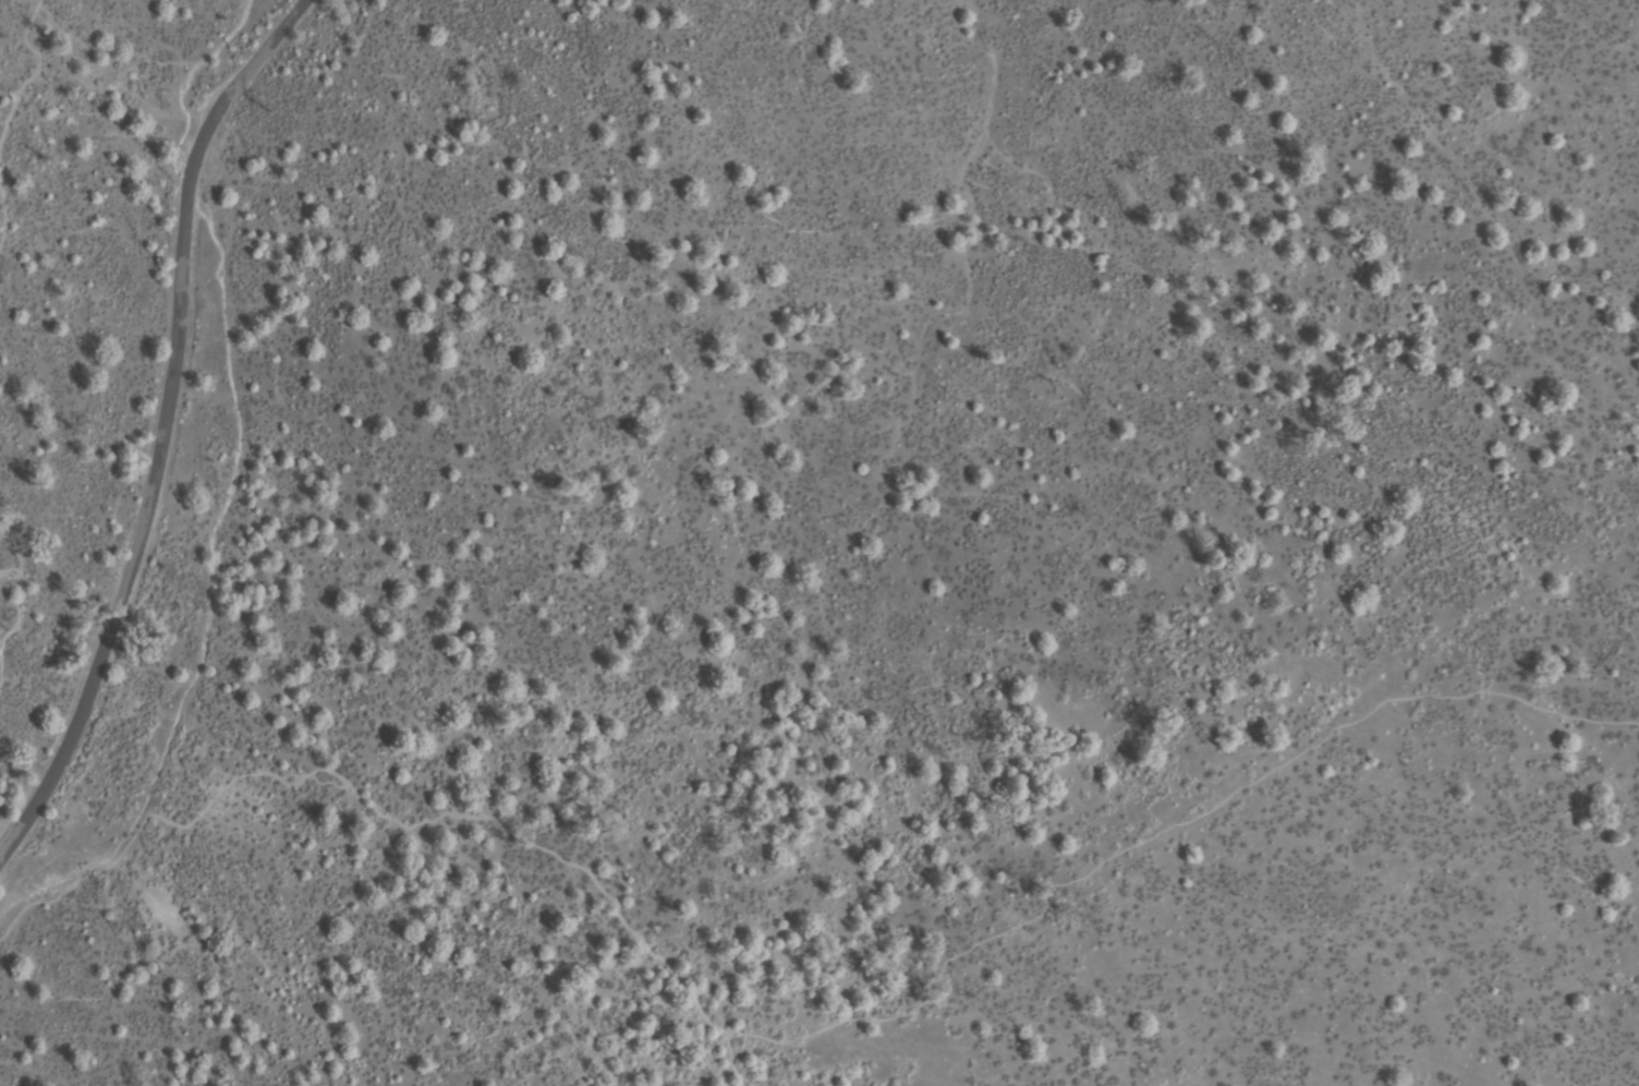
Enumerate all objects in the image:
road: (114, 70)
road: (150, 409)
road: (789, 1039)

